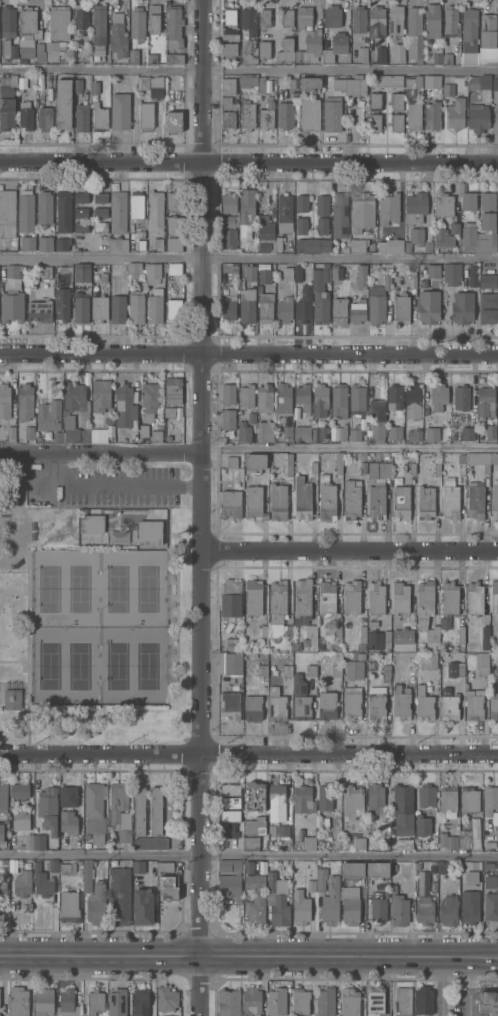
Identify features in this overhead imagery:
building: (418, 3)
building: (332, 15)
building: (303, 16)
building: (81, 17)
building: (229, 17)
building: (153, 18)
building: (264, 18)
building: (286, 19)
building: (359, 19)
building: (7, 21)
building: (248, 21)
building: (376, 21)
building: (432, 21)
building: (450, 21)
building: (58, 22)
building: (137, 22)
building: (395, 23)
building: (174, 26)
building: (98, 30)
building: (228, 31)
building: (28, 32)
building: (414, 32)
building: (118, 35)
building: (230, 36)
building: (469, 36)
building: (488, 39)
building: (497, 43)
building: (310, 46)
building: (335, 46)
building: (8, 49)
building: (229, 49)
building: (263, 49)
building: (54, 50)
building: (285, 50)
building: (40, 52)
building: (447, 52)
building: (398, 53)
building: (133, 54)
building: (249, 54)
building: (362, 54)
building: (380, 54)
building: (174, 58)
building: (437, 58)
road: (248, 72)
building: (8, 80)
building: (248, 80)
building: (432, 80)
building: (386, 81)
building: (22, 82)
building: (143, 82)
building: (478, 82)
building: (294, 83)
building: (309, 83)
building: (338, 84)
building: (261, 85)
building: (77, 86)
building: (228, 86)
building: (355, 86)
building: (95, 87)
building: (156, 87)
building: (414, 87)
building: (495, 89)
building: (447, 90)
building: (226, 100)
building: (375, 101)
building: (397, 101)
building: (63, 103)
building: (95, 104)
building: (228, 106)
building: (120, 111)
building: (6, 113)
building: (332, 113)
building: (456, 113)
building: (247, 114)
building: (266, 114)
building: (310, 114)
building: (25, 115)
building: (285, 115)
building: (432, 115)
building: (146, 116)
building: (413, 116)
building: (44, 117)
building: (81, 117)
building: (478, 117)
building: (99, 118)
building: (228, 119)
building: (174, 121)
building: (374, 122)
building: (397, 122)
building: (497, 123)
road: (249, 165)
building: (80, 196)
building: (100, 196)
building: (467, 198)
building: (173, 200)
building: (488, 200)
building: (229, 202)
building: (301, 203)
building: (136, 204)
building: (322, 204)
building: (443, 204)
building: (44, 206)
building: (415, 206)
building: (388, 208)
building: (25, 210)
building: (155, 210)
building: (63, 211)
building: (80, 211)
building: (100, 211)
building: (118, 211)
building: (362, 211)
building: (497, 211)
building: (7, 213)
building: (285, 213)
building: (246, 215)
building: (339, 215)
building: (229, 220)
building: (173, 225)
building: (301, 225)
building: (322, 225)
building: (80, 226)
building: (100, 226)
building: (454, 227)
building: (141, 234)
building: (480, 234)
building: (266, 236)
building: (228, 237)
building: (443, 237)
building: (415, 239)
building: (27, 242)
building: (45, 243)
building: (62, 243)
building: (115, 243)
building: (154, 243)
building: (173, 243)
building: (141, 244)
building: (278, 244)
building: (358, 244)
building: (313, 245)
building: (390, 245)
building: (428, 245)
road: (249, 257)
building: (134, 268)
building: (234, 270)
building: (433, 270)
building: (13, 271)
building: (45, 271)
building: (81, 271)
building: (173, 271)
building: (288, 273)
building: (297, 273)
building: (340, 273)
building: (452, 273)
building: (361, 274)
building: (473, 275)
building: (264, 276)
building: (412, 279)
building: (487, 280)
building: (154, 293)
building: (403, 293)
building: (248, 295)
building: (321, 295)
building: (378, 300)
building: (488, 300)
building: (61, 303)
building: (229, 304)
building: (304, 304)
building: (11, 305)
building: (173, 305)
building: (266, 305)
building: (429, 306)
building: (80, 307)
building: (99, 307)
building: (463, 307)
building: (136, 308)
building: (402, 308)
building: (118, 309)
building: (285, 309)
building: (340, 309)
building: (40, 311)
building: (357, 311)
building: (488, 316)
road: (249, 354)
building: (173, 389)
building: (228, 393)
building: (100, 394)
building: (302, 394)
building: (246, 396)
building: (439, 396)
building: (264, 397)
building: (394, 397)
building: (461, 397)
building: (75, 398)
building: (4, 400)
building: (149, 400)
building: (320, 400)
building: (339, 400)
building: (485, 400)
building: (25, 401)
building: (357, 401)
building: (414, 401)
building: (124, 405)
building: (284, 409)
building: (169, 411)
building: (48, 415)
building: (251, 417)
building: (228, 419)
building: (377, 419)
building: (65, 420)
building: (144, 430)
building: (264, 431)
building: (491, 431)
building: (10, 432)
building: (29, 432)
building: (243, 432)
building: (302, 432)
building: (395, 432)
building: (497, 432)
building: (319, 433)
building: (338, 433)
building: (467, 433)
building: (72, 434)
building: (354, 434)
building: (432, 434)
building: (99, 435)
building: (156, 435)
building: (414, 435)
building: (57, 436)
building: (84, 436)
road: (349, 447)
road: (100, 449)
building: (494, 457)
building: (479, 459)
building: (231, 461)
building: (255, 462)
building: (338, 462)
building: (289, 464)
building: (314, 467)
building: (363, 467)
building: (412, 467)
building: (462, 469)
building: (437, 470)
building: (377, 488)
building: (326, 498)
building: (351, 498)
building: (302, 499)
building: (450, 499)
building: (475, 500)
building: (254, 502)
building: (278, 502)
building: (401, 502)
building: (425, 502)
building: (494, 502)
building: (230, 504)
road: (201, 507)
building: (91, 523)
building: (149, 531)
building: (133, 533)
park: (10, 540)
road: (350, 551)
building: (494, 596)
building: (252, 597)
building: (302, 597)
building: (326, 597)
building: (351, 597)
building: (230, 598)
building: (376, 598)
building: (400, 598)
building: (449, 598)
building: (474, 598)
park: (93, 600)
building: (277, 601)
building: (426, 609)
building: (372, 623)
building: (445, 623)
building: (262, 631)
building: (338, 631)
building: (412, 631)
building: (288, 632)
building: (311, 633)
building: (362, 634)
building: (461, 635)
building: (485, 636)
building: (374, 639)
building: (387, 639)
building: (231, 643)
building: (296, 646)
building: (421, 646)
building: (361, 647)
building: (344, 655)
building: (497, 657)
building: (428, 661)
building: (370, 665)
building: (385, 665)
building: (231, 666)
building: (262, 670)
building: (287, 670)
building: (311, 670)
building: (336, 670)
building: (345, 670)
building: (360, 670)
building: (460, 670)
building: (482, 670)
building: (298, 684)
building: (12, 698)
building: (494, 700)
building: (401, 702)
building: (423, 704)
building: (276, 705)
building: (327, 705)
building: (352, 705)
building: (229, 706)
building: (473, 706)
building: (252, 708)
building: (301, 708)
building: (376, 708)
building: (449, 708)
road: (249, 755)
building: (229, 788)
building: (19, 789)
building: (68, 795)
building: (253, 795)
building: (275, 795)
building: (324, 795)
building: (427, 795)
building: (3, 797)
building: (402, 798)
building: (448, 798)
building: (302, 799)
building: (376, 799)
building: (470, 799)
building: (490, 799)
building: (352, 800)
building: (230, 802)
building: (48, 809)
building: (120, 809)
building: (95, 810)
building: (139, 810)
building: (156, 810)
building: (230, 815)
building: (20, 820)
building: (67, 820)
building: (279, 823)
building: (403, 824)
building: (3, 825)
building: (254, 825)
building: (423, 825)
building: (169, 826)
building: (228, 829)
building: (470, 837)
building: (448, 840)
building: (29, 841)
building: (39, 841)
building: (150, 842)
building: (310, 842)
building: (359, 842)
building: (404, 842)
building: (251, 843)
road: (249, 854)
building: (489, 864)
building: (12, 865)
building: (54, 865)
building: (229, 865)
building: (417, 865)
building: (137, 866)
building: (164, 866)
building: (248, 866)
building: (443, 866)
building: (394, 867)
building: (68, 868)
building: (377, 869)
building: (352, 870)
building: (4, 875)
building: (87, 876)
building: (471, 876)
building: (104, 877)
building: (42, 880)
building: (490, 881)
building: (22, 883)
building: (229, 884)
building: (311, 885)
building: (168, 887)
building: (119, 894)
building: (329, 895)
building: (254, 899)
building: (96, 904)
building: (350, 904)
building: (277, 905)
building: (470, 905)
building: (69, 906)
building: (143, 906)
building: (490, 906)
building: (300, 907)
building: (378, 907)
building: (398, 908)
building: (424, 910)
building: (448, 910)
road: (249, 954)
road: (443, 986)
road: (470, 987)
building: (166, 998)
building: (424, 999)
building: (251, 1000)
building: (300, 1000)
building: (18, 1001)
building: (43, 1001)
building: (95, 1001)
building: (140, 1001)
building: (276, 1001)
building: (350, 1001)
building: (375, 1001)
building: (402, 1001)
building: (488, 1001)
building: (117, 1002)
building: (229, 1002)
building: (325, 1002)
building: (67, 1004)

